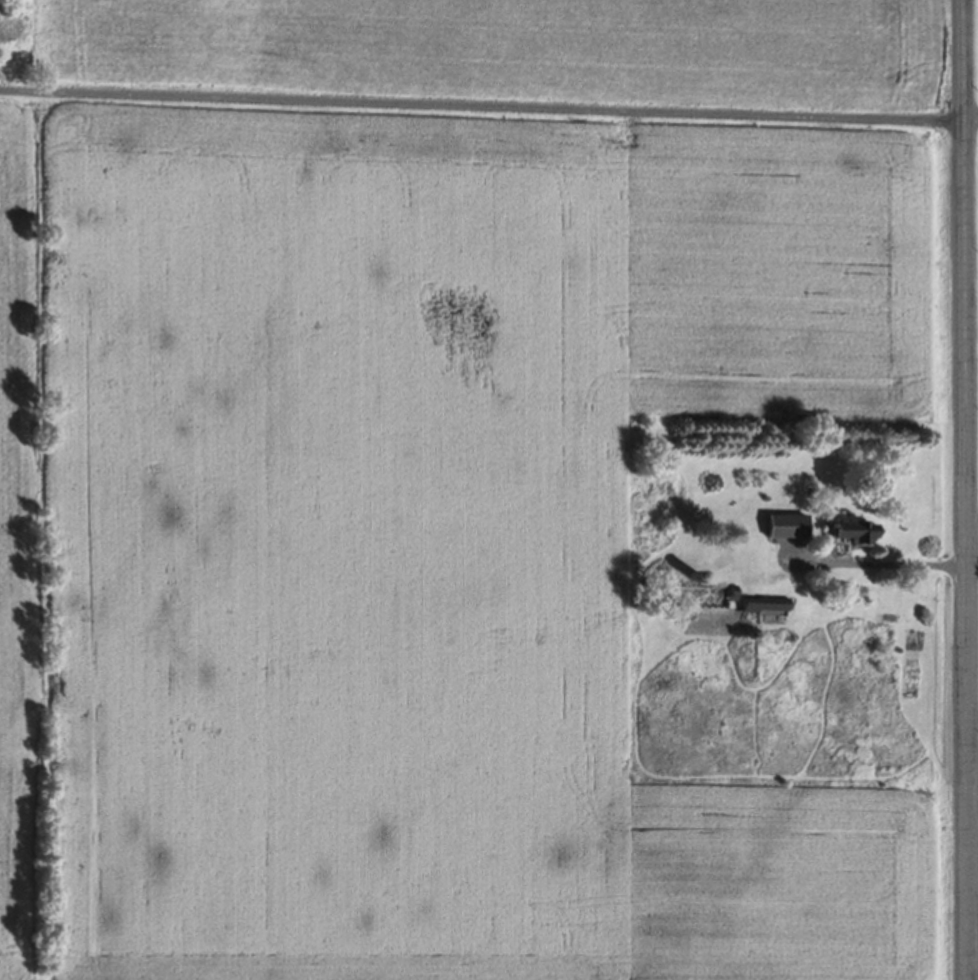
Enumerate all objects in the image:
quarry: (19, 46)
road: (481, 107)
road: (970, 110)
road: (965, 489)
building: (782, 531)
building: (848, 536)
road: (909, 566)
building: (762, 610)

